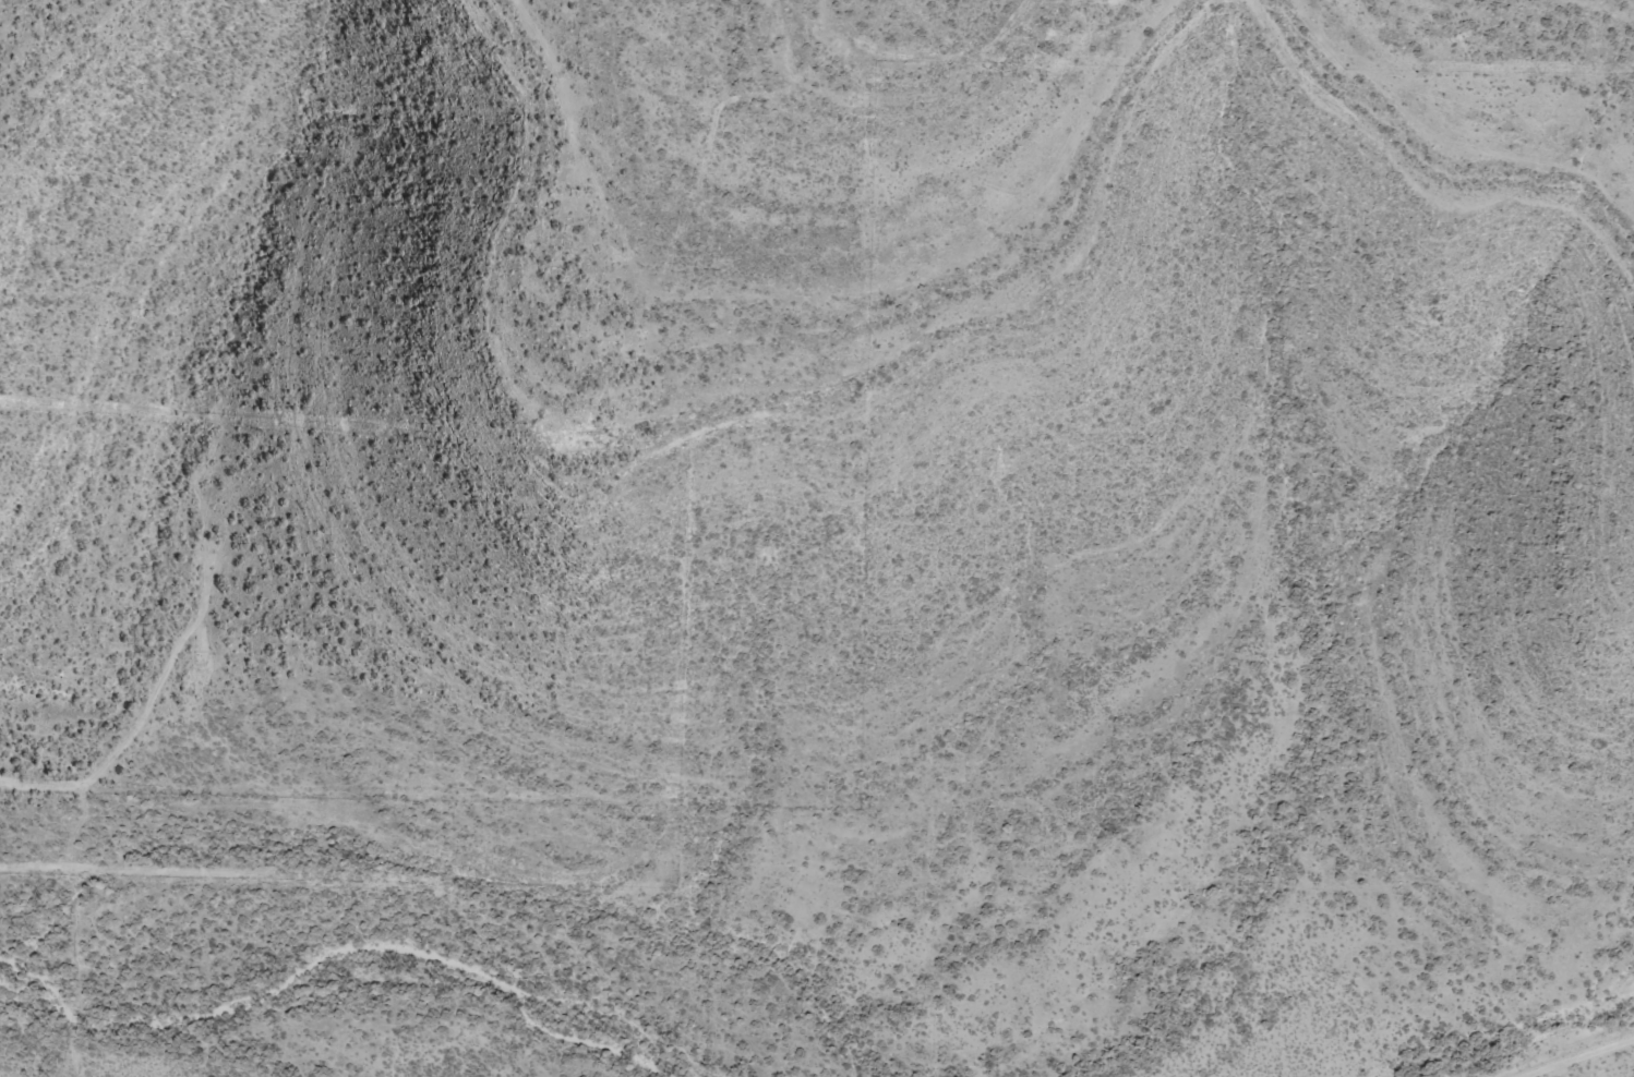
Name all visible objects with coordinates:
road: (1593, 1063)

